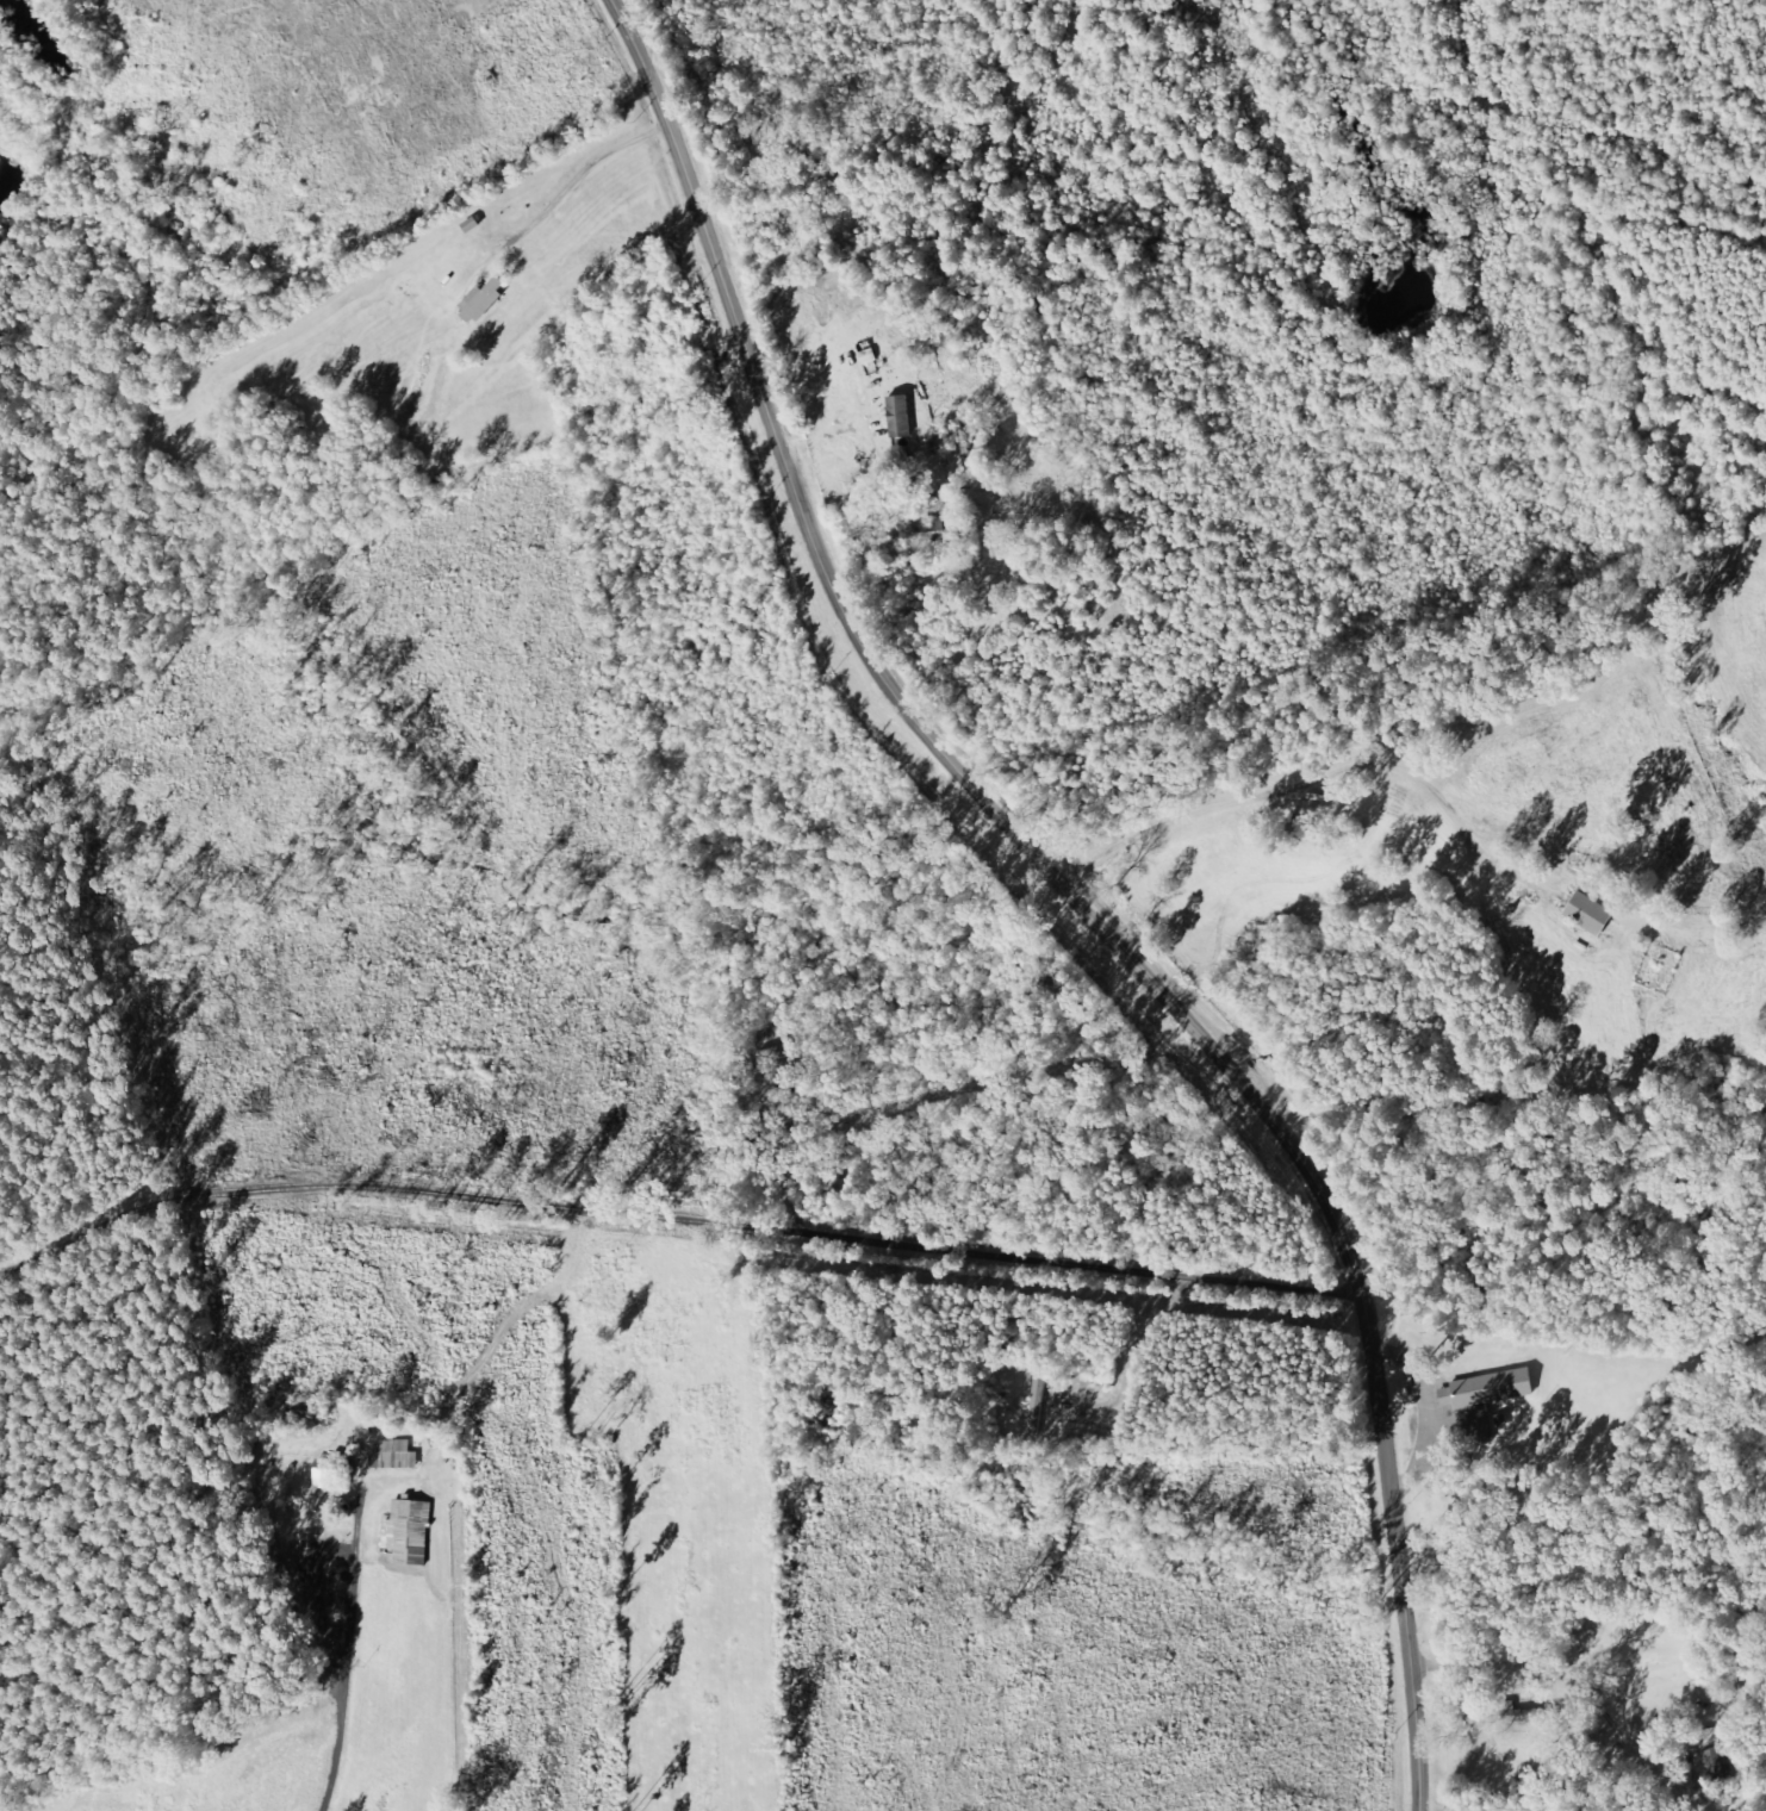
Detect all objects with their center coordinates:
building: (486, 301)
building: (903, 417)
building: (943, 533)
road: (1071, 894)
building: (1594, 915)
road: (679, 1197)
building: (1499, 1388)
building: (1040, 1406)
building: (334, 1475)
building: (412, 1533)
road: (73, 1549)

